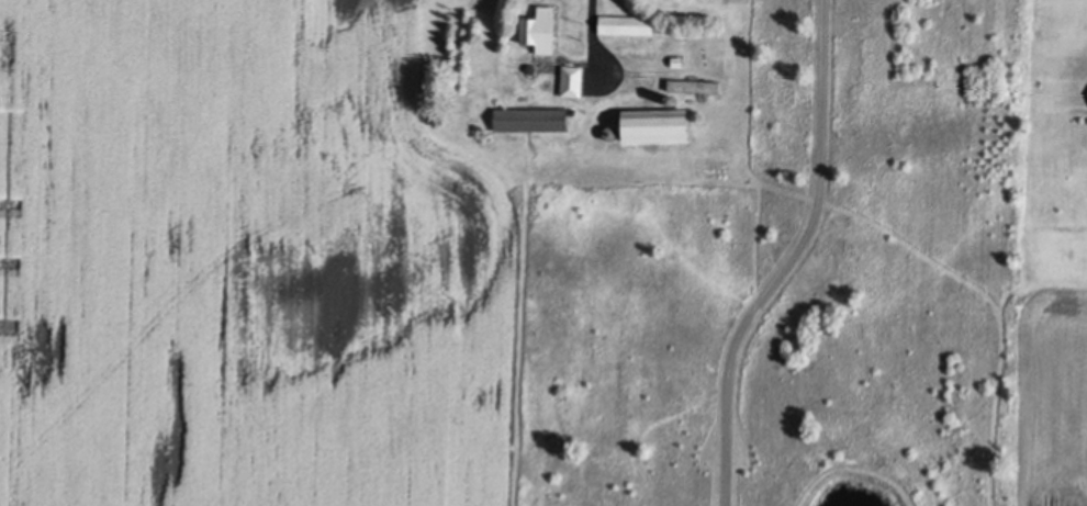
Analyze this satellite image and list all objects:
building: (627, 22)
road: (590, 23)
building: (541, 27)
building: (679, 58)
building: (533, 68)
building: (573, 78)
building: (696, 85)
building: (673, 98)
building: (534, 115)
building: (657, 122)
building: (612, 132)
road: (792, 258)

